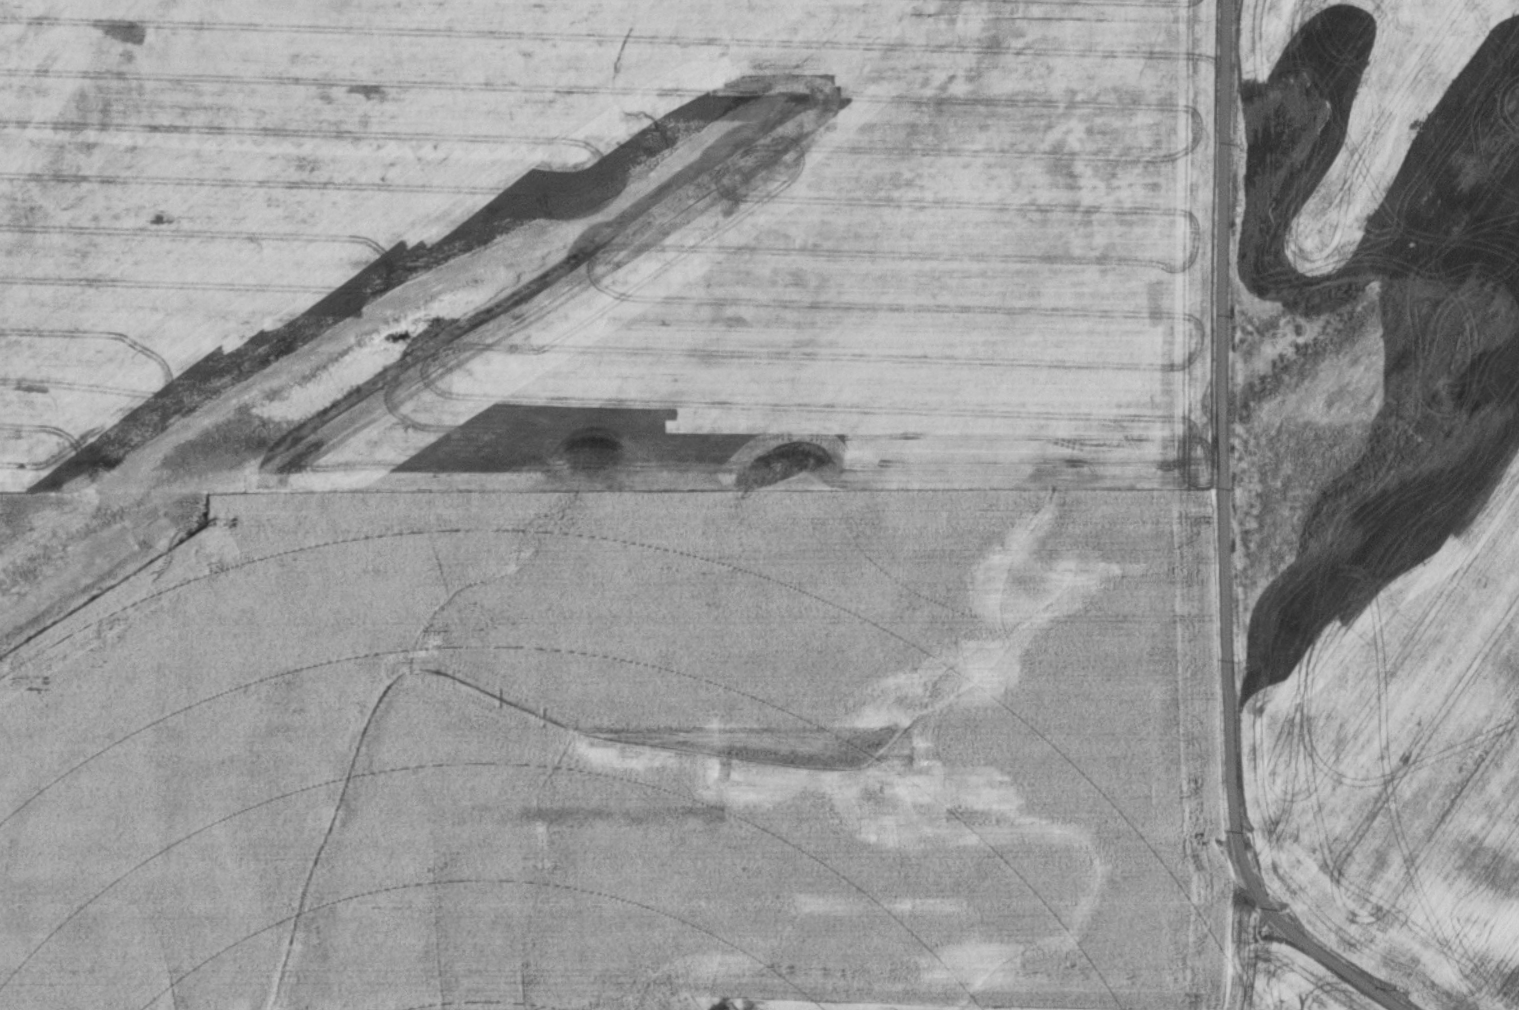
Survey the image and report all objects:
road: (1222, 541)

